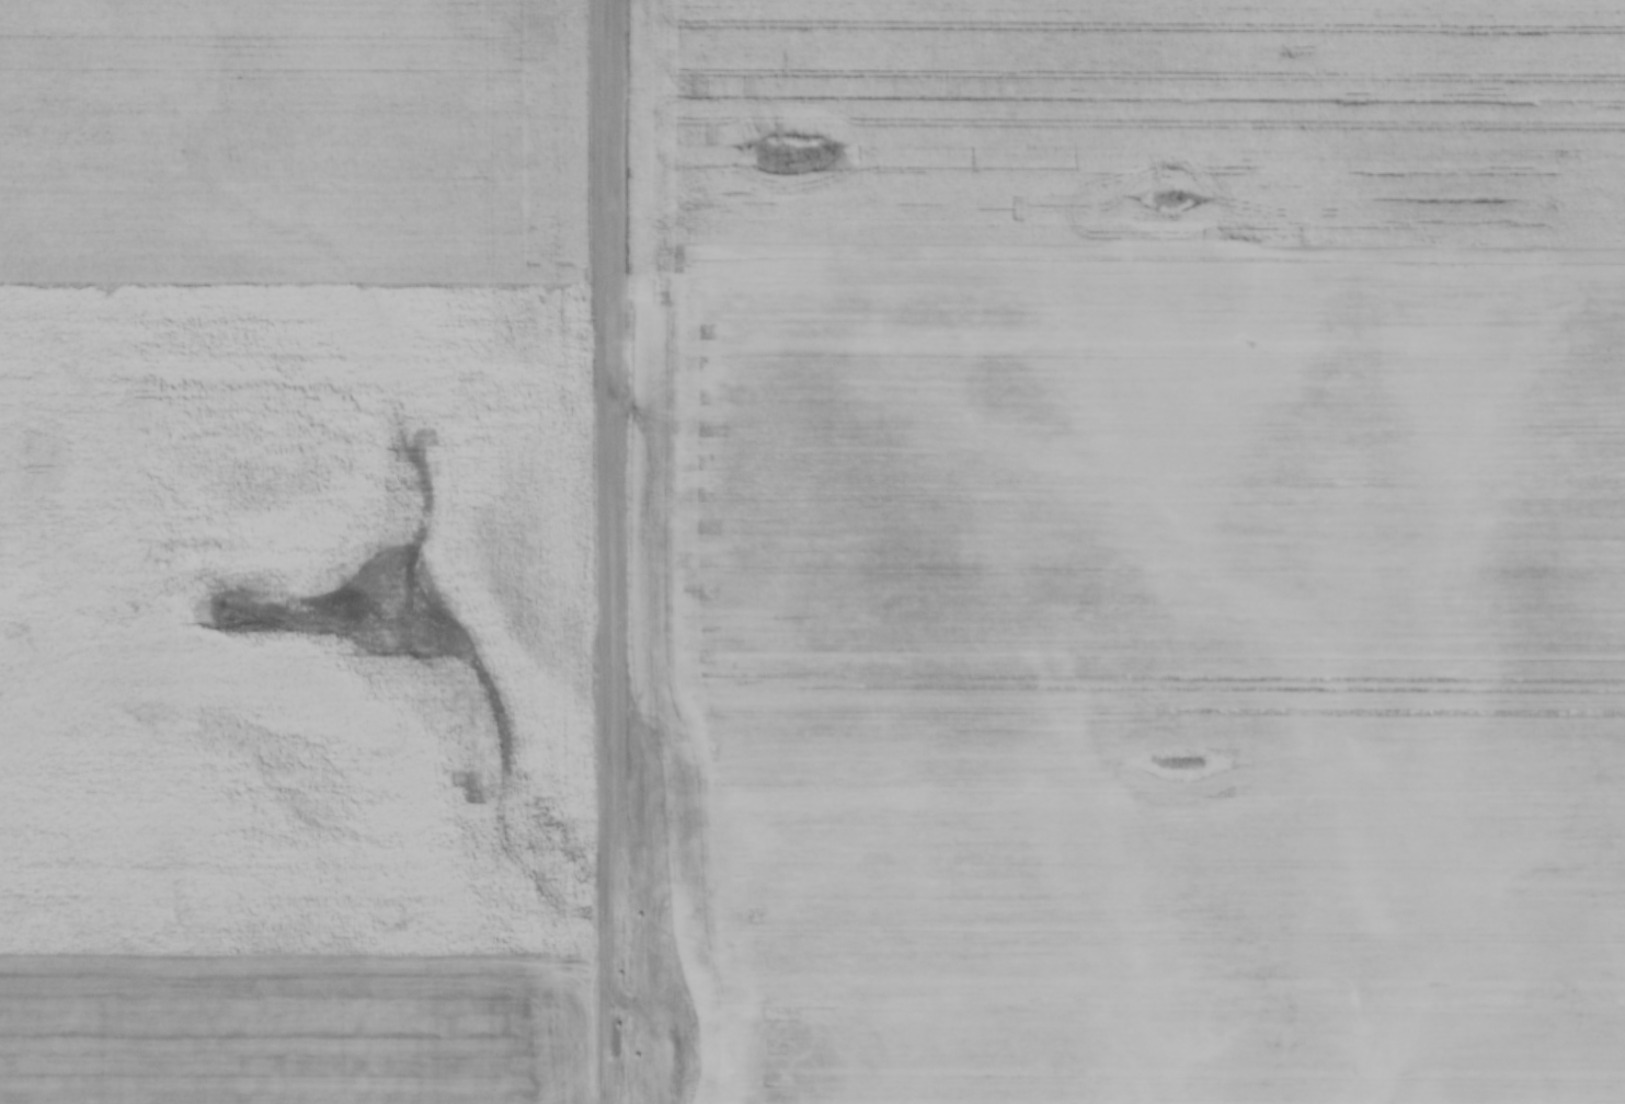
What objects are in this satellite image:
road: (286, 445)
road: (606, 552)

